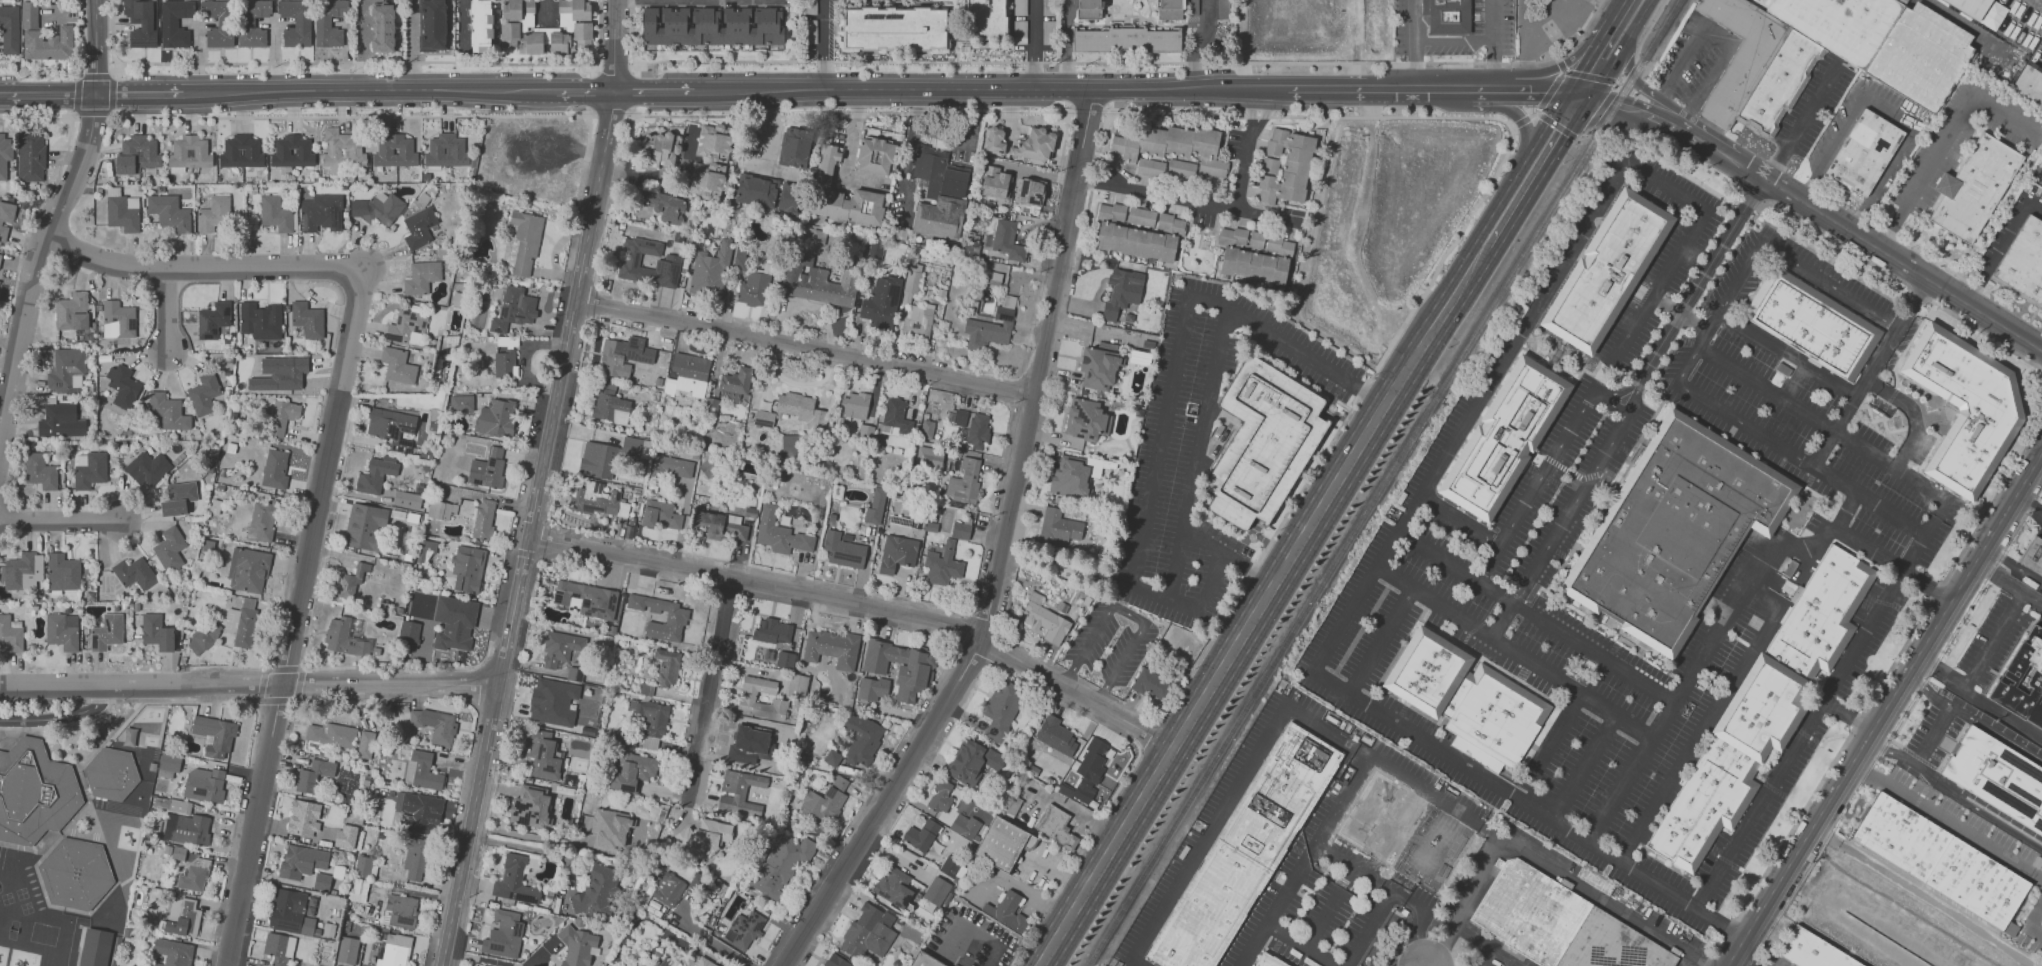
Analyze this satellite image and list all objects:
building: (1023, 7)
building: (1969, 7)
building: (809, 8)
building: (1089, 9)
building: (1170, 9)
building: (1221, 9)
road: (546, 12)
road: (1639, 13)
building: (1446, 15)
building: (516, 17)
building: (985, 17)
road: (1544, 18)
road: (1490, 20)
building: (140, 21)
building: (328, 21)
road: (1414, 21)
building: (174, 22)
building: (218, 22)
building: (253, 22)
building: (295, 22)
road: (465, 22)
building: (432, 25)
building: (481, 26)
building: (712, 26)
building: (9, 28)
building: (382, 28)
building: (893, 28)
road: (1649, 28)
building: (579, 29)
building: (810, 31)
building: (1048, 32)
road: (111, 34)
building: (43, 36)
road: (79, 37)
road: (1721, 37)
road: (1453, 38)
building: (1126, 40)
road: (97, 45)
road: (826, 45)
road: (1035, 45)
road: (1066, 45)
road: (362, 46)
road: (615, 46)
road: (1203, 46)
building: (1824, 53)
road: (353, 62)
road: (1130, 62)
road: (1414, 62)
road: (1493, 62)
road: (1605, 62)
road: (1561, 65)
road: (615, 72)
road: (35, 75)
road: (1605, 80)
road: (1640, 83)
building: (2032, 83)
road: (1553, 85)
road: (48, 91)
traffic signals: (97, 91)
road: (130, 91)
road: (942, 91)
road: (1357, 91)
road: (1465, 91)
road: (1499, 91)
road: (1545, 91)
road: (389, 92)
traffic signals: (1579, 97)
road: (1087, 103)
road: (1601, 107)
road: (1630, 108)
road: (611, 110)
road: (75, 113)
road: (849, 113)
road: (1891, 114)
road: (350, 116)
road: (1306, 116)
road: (38, 118)
road: (1545, 118)
road: (1802, 122)
road: (1523, 124)
road: (771, 128)
road: (1581, 135)
road: (1084, 136)
building: (994, 139)
road: (1945, 140)
building: (712, 142)
building: (1033, 143)
building: (661, 147)
building: (794, 147)
road: (1708, 147)
road: (1830, 148)
road: (846, 149)
road: (908, 149)
building: (446, 150)
building: (292, 151)
building: (342, 151)
building: (395, 151)
building: (1171, 151)
road: (1255, 151)
building: (1865, 151)
building: (241, 152)
building: (5, 153)
building: (189, 153)
building: (137, 154)
building: (875, 156)
building: (30, 157)
building: (2041, 158)
road: (1659, 160)
building: (1287, 168)
road: (1531, 170)
road: (660, 172)
road: (1880, 181)
building: (994, 182)
building: (707, 183)
building: (1977, 187)
building: (756, 191)
building: (938, 193)
building: (842, 194)
building: (788, 197)
road: (1187, 201)
building: (667, 207)
building: (375, 210)
building: (168, 211)
building: (123, 212)
building: (320, 212)
road: (1592, 212)
road: (1743, 213)
building: (214, 214)
building: (276, 214)
building: (6, 219)
building: (419, 227)
building: (1137, 231)
road: (1359, 232)
building: (526, 240)
building: (1007, 240)
road: (2000, 245)
building: (0, 256)
road: (1891, 256)
building: (738, 257)
building: (1257, 257)
road: (1798, 259)
road: (38, 261)
building: (2025, 262)
building: (648, 263)
road: (1305, 265)
road: (201, 269)
building: (711, 269)
building: (1610, 273)
road: (1888, 274)
building: (421, 277)
building: (0, 280)
road: (1700, 283)
building: (819, 284)
building: (753, 289)
building: (1122, 292)
building: (881, 302)
building: (915, 306)
building: (514, 309)
building: (72, 311)
road: (165, 311)
road: (1680, 314)
building: (213, 319)
building: (118, 320)
building: (260, 320)
building: (306, 320)
building: (1814, 324)
building: (991, 326)
building: (407, 327)
road: (1708, 330)
road: (805, 349)
road: (1788, 355)
building: (623, 356)
building: (504, 363)
building: (397, 365)
road: (1688, 365)
building: (67, 369)
road: (1871, 372)
building: (280, 374)
building: (689, 374)
building: (734, 384)
building: (123, 386)
road: (1615, 392)
building: (204, 394)
road: (1168, 398)
road: (1631, 399)
building: (461, 402)
road: (1610, 402)
building: (609, 404)
building: (798, 408)
building: (853, 408)
building: (1968, 409)
building: (168, 412)
road: (1913, 414)
building: (282, 416)
building: (496, 417)
road: (1623, 417)
building: (763, 418)
building: (895, 418)
building: (1084, 419)
building: (60, 420)
road: (1343, 421)
road: (1823, 424)
building: (392, 426)
building: (973, 427)
building: (926, 429)
building: (1507, 440)
building: (789, 444)
building: (1266, 444)
building: (634, 448)
road: (1196, 455)
building: (929, 457)
building: (597, 459)
road: (1802, 460)
building: (672, 467)
building: (148, 468)
building: (487, 468)
building: (89, 469)
building: (275, 469)
building: (40, 471)
building: (376, 474)
building: (1073, 477)
building: (964, 481)
railway: (1368, 482)
railway: (1377, 482)
railway: (1384, 482)
road: (1538, 486)
building: (178, 498)
building: (407, 499)
building: (596, 499)
building: (875, 506)
road: (1844, 507)
road: (2028, 507)
building: (441, 509)
road: (1567, 512)
building: (661, 515)
building: (484, 518)
road: (60, 521)
building: (261, 521)
road: (1460, 521)
building: (717, 525)
building: (365, 526)
road: (529, 529)
building: (961, 530)
building: (1677, 532)
building: (780, 533)
road: (1804, 545)
building: (169, 548)
building: (425, 550)
building: (843, 550)
building: (897, 553)
road: (1229, 556)
building: (2033, 558)
road: (1893, 561)
road: (1455, 564)
building: (942, 565)
road: (2013, 565)
building: (467, 568)
building: (248, 570)
building: (23, 571)
building: (63, 572)
building: (134, 573)
road: (1367, 578)
building: (351, 581)
road: (2008, 584)
road: (1761, 595)
road: (988, 596)
building: (586, 598)
road: (1263, 605)
road: (864, 607)
road: (1131, 613)
road: (293, 616)
building: (675, 617)
building: (1044, 618)
road: (1501, 618)
building: (242, 622)
building: (454, 623)
building: (62, 631)
building: (773, 631)
building: (107, 632)
building: (157, 632)
building: (10, 635)
building: (409, 635)
building: (203, 638)
building: (345, 638)
road: (1991, 639)
road: (1381, 643)
building: (560, 648)
building: (832, 648)
road: (1515, 649)
road: (1593, 651)
building: (765, 653)
building: (785, 659)
building: (667, 666)
building: (900, 667)
building: (575, 673)
building: (2024, 683)
building: (1152, 684)
road: (320, 685)
building: (797, 685)
road: (72, 688)
building: (872, 688)
road: (709, 690)
road: (1678, 695)
road: (1893, 695)
building: (747, 697)
road: (1978, 699)
building: (553, 702)
building: (1472, 702)
road: (1823, 704)
building: (1768, 707)
building: (1001, 709)
road: (1849, 714)
road: (59, 718)
road: (1973, 719)
building: (650, 721)
building: (432, 726)
road: (1929, 732)
building: (331, 734)
road: (1151, 734)
road: (1699, 734)
building: (129, 736)
building: (215, 736)
building: (1057, 736)
building: (862, 739)
building: (750, 743)
building: (365, 744)
road: (1888, 751)
building: (542, 756)
building: (832, 758)
building: (972, 761)
building: (168, 765)
road: (1584, 767)
building: (1091, 768)
building: (422, 771)
building: (633, 771)
road: (1930, 774)
building: (112, 775)
building: (314, 775)
building: (1998, 778)
building: (839, 782)
building: (204, 784)
building: (739, 793)
building: (35, 794)
building: (940, 796)
building: (822, 803)
road: (1524, 803)
building: (172, 805)
building: (530, 807)
building: (419, 812)
building: (303, 817)
road: (1946, 821)
road: (1995, 821)
building: (964, 825)
building: (1056, 826)
building: (186, 829)
building: (609, 829)
building: (1411, 832)
road: (1210, 833)
building: (921, 835)
building: (346, 836)
road: (1497, 836)
road: (535, 837)
building: (705, 838)
building: (1002, 843)
road: (527, 847)
road: (1077, 851)
building: (1249, 851)
building: (415, 857)
building: (301, 861)
road: (1303, 861)
building: (1943, 862)
building: (780, 864)
building: (363, 865)
building: (952, 868)
building: (77, 874)
building: (194, 874)
building: (322, 881)
building: (893, 886)
road: (1394, 888)
building: (358, 889)
building: (668, 889)
building: (598, 890)
building: (938, 891)
road: (420, 893)
road: (1924, 896)
road: (1466, 904)
building: (928, 906)
road: (1326, 906)
building: (401, 910)
building: (293, 911)
building: (1006, 911)
park: (1891, 915)
building: (182, 917)
building: (1562, 924)
road: (1369, 927)
building: (745, 929)
building: (868, 932)
building: (504, 935)
road: (715, 941)
road: (1296, 945)
building: (578, 946)
building: (98, 947)
building: (278, 948)
building: (347, 950)
building: (395, 950)
road: (1736, 951)
building: (1815, 951)
building: (175, 952)
road: (539, 956)
road: (1484, 956)
road: (1749, 958)
road: (479, 959)
building: (1271, 960)
building: (835, 961)
building: (926, 961)
building: (705, 962)
road: (1136, 963)
building: (155, 965)
building: (336, 965)

